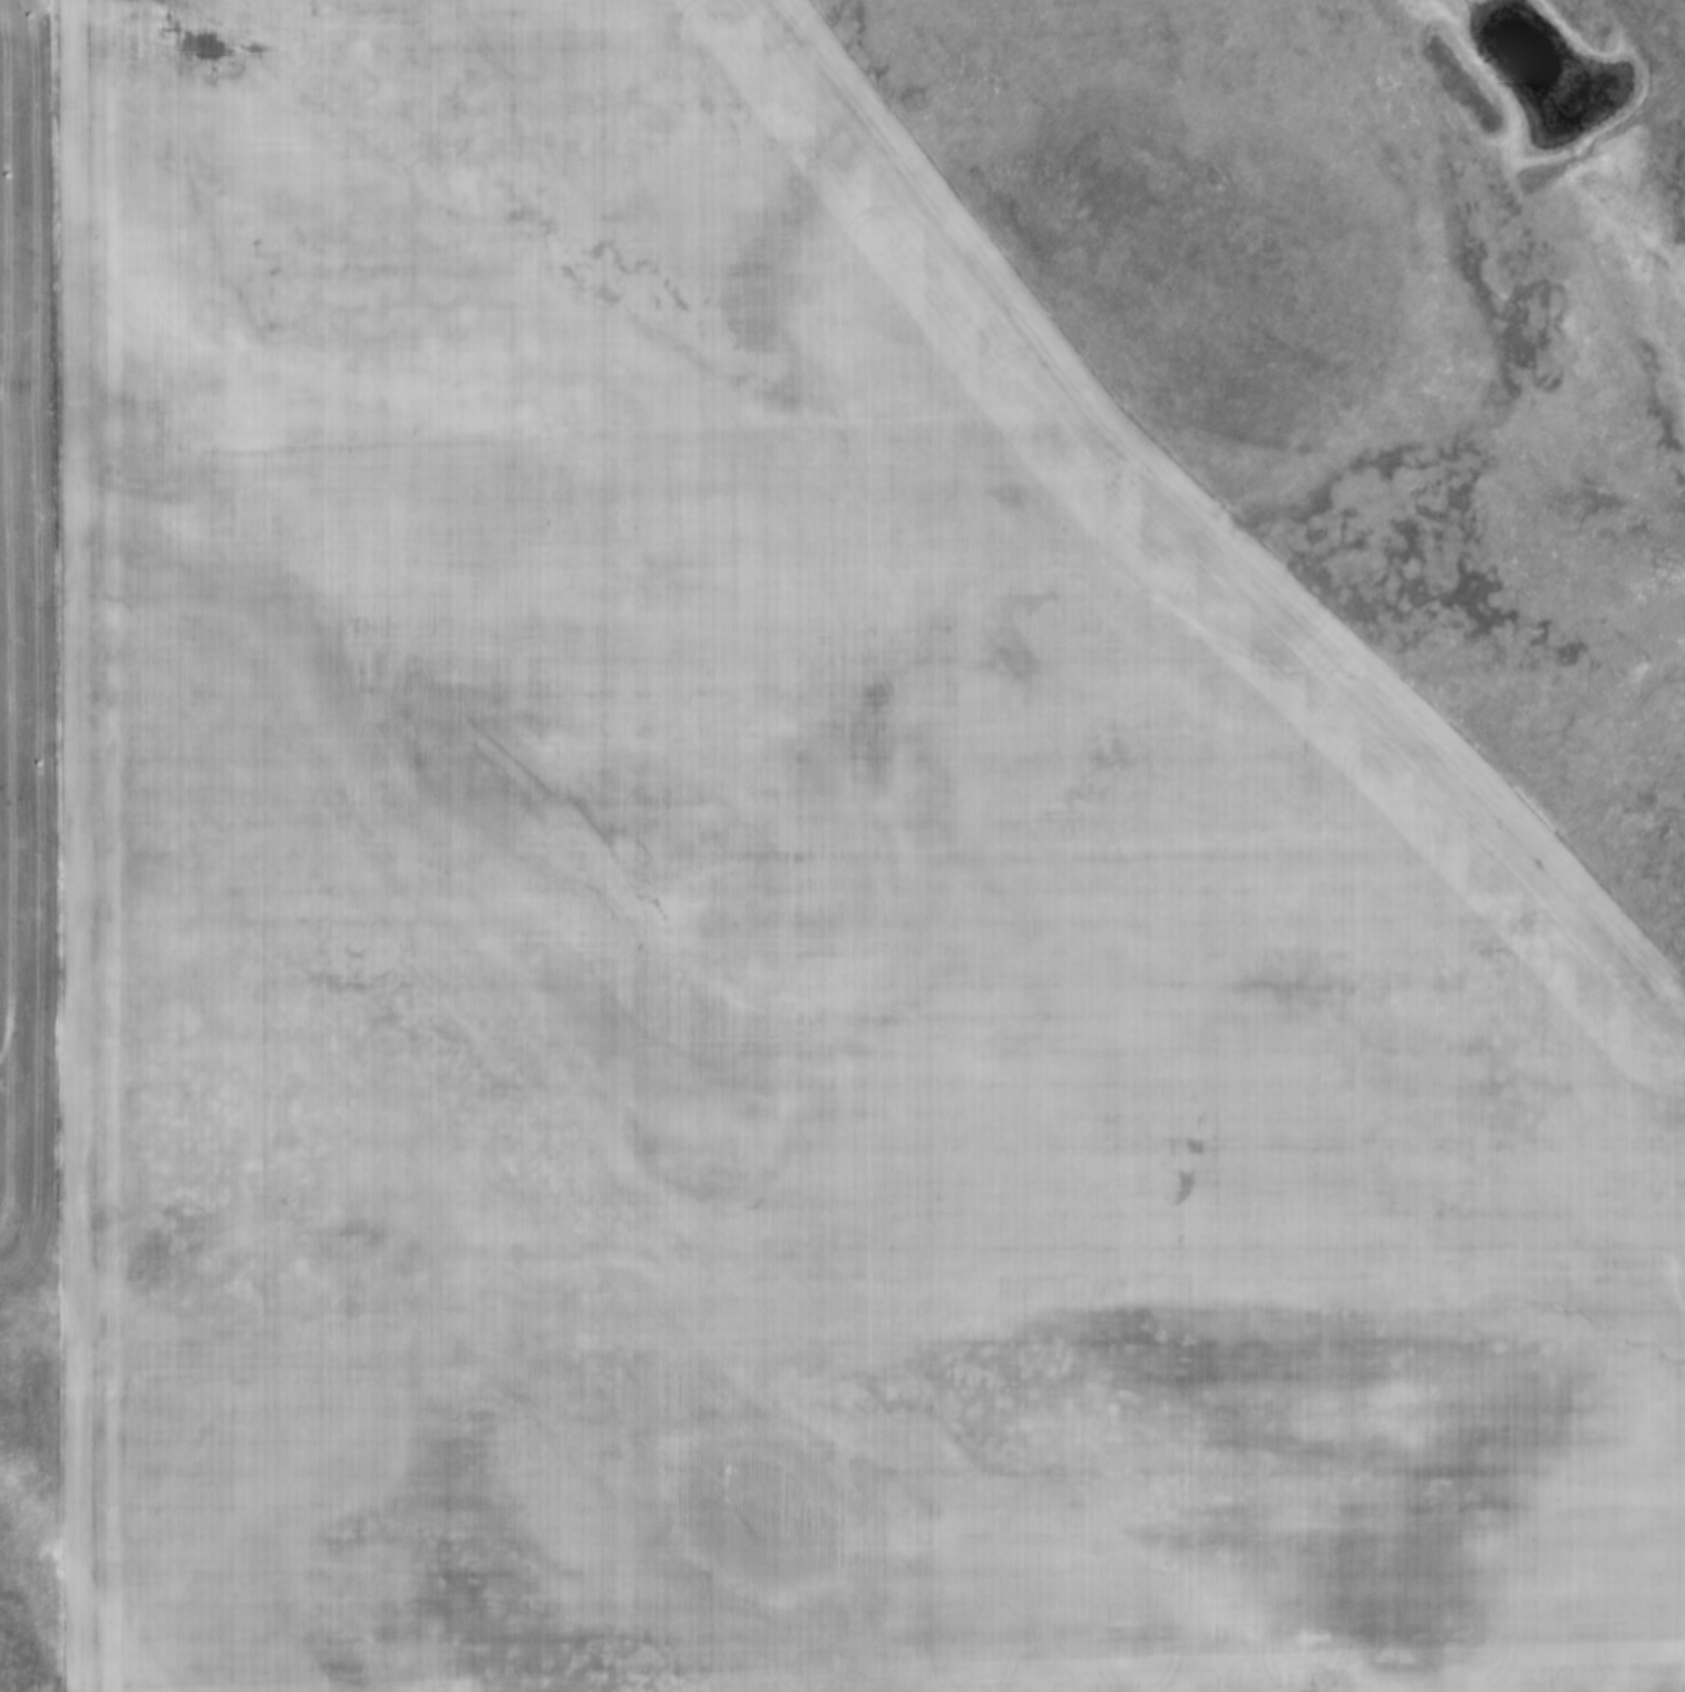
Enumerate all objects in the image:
road: (1151, 413)
road: (304, 459)
road: (1605, 733)

